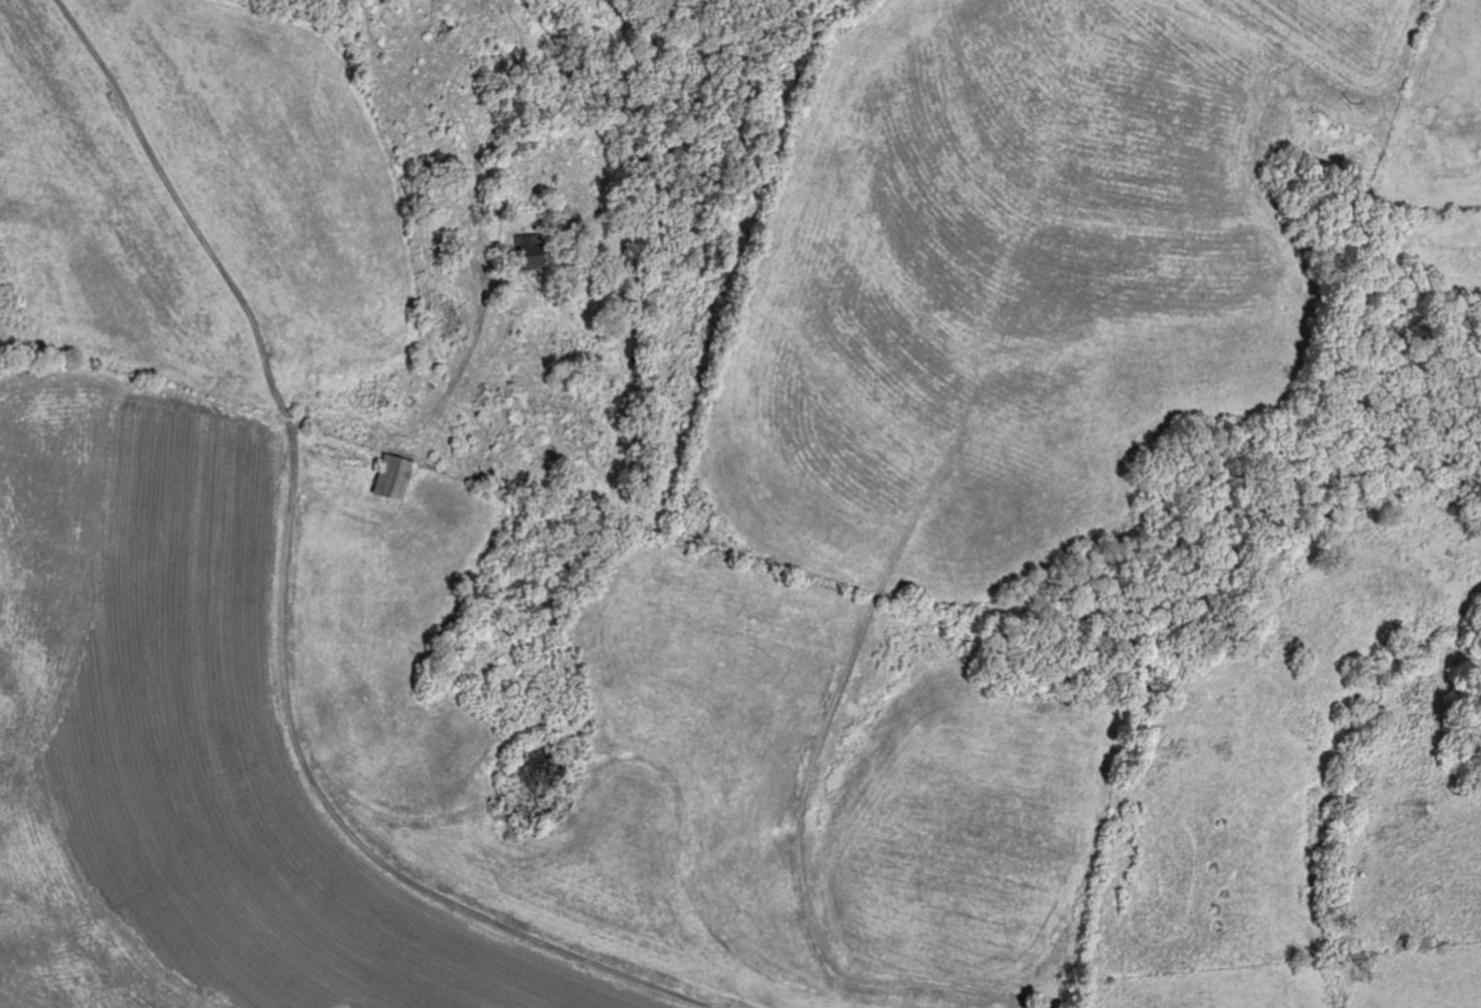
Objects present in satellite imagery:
building: (531, 251)
road: (433, 258)
road: (178, 394)
building: (396, 477)
road: (981, 798)
road: (410, 839)

